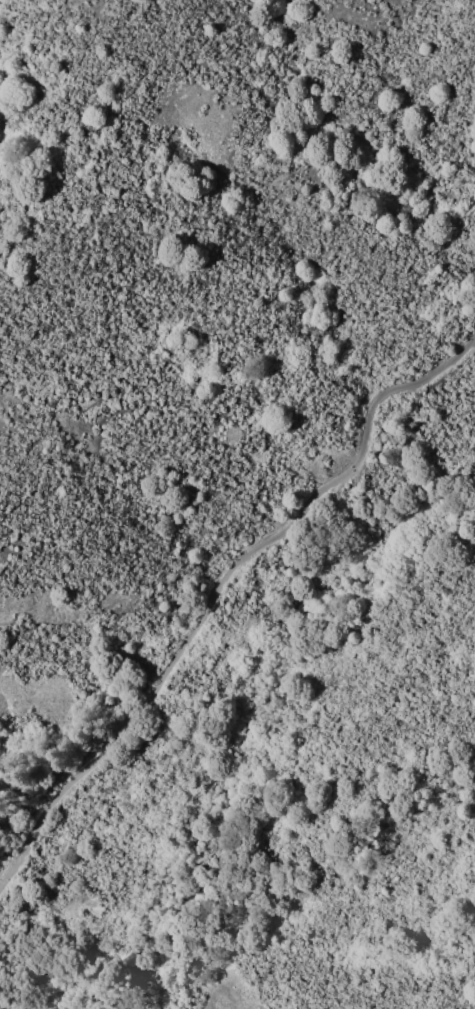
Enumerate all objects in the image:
road: (50, 144)
road: (217, 590)

